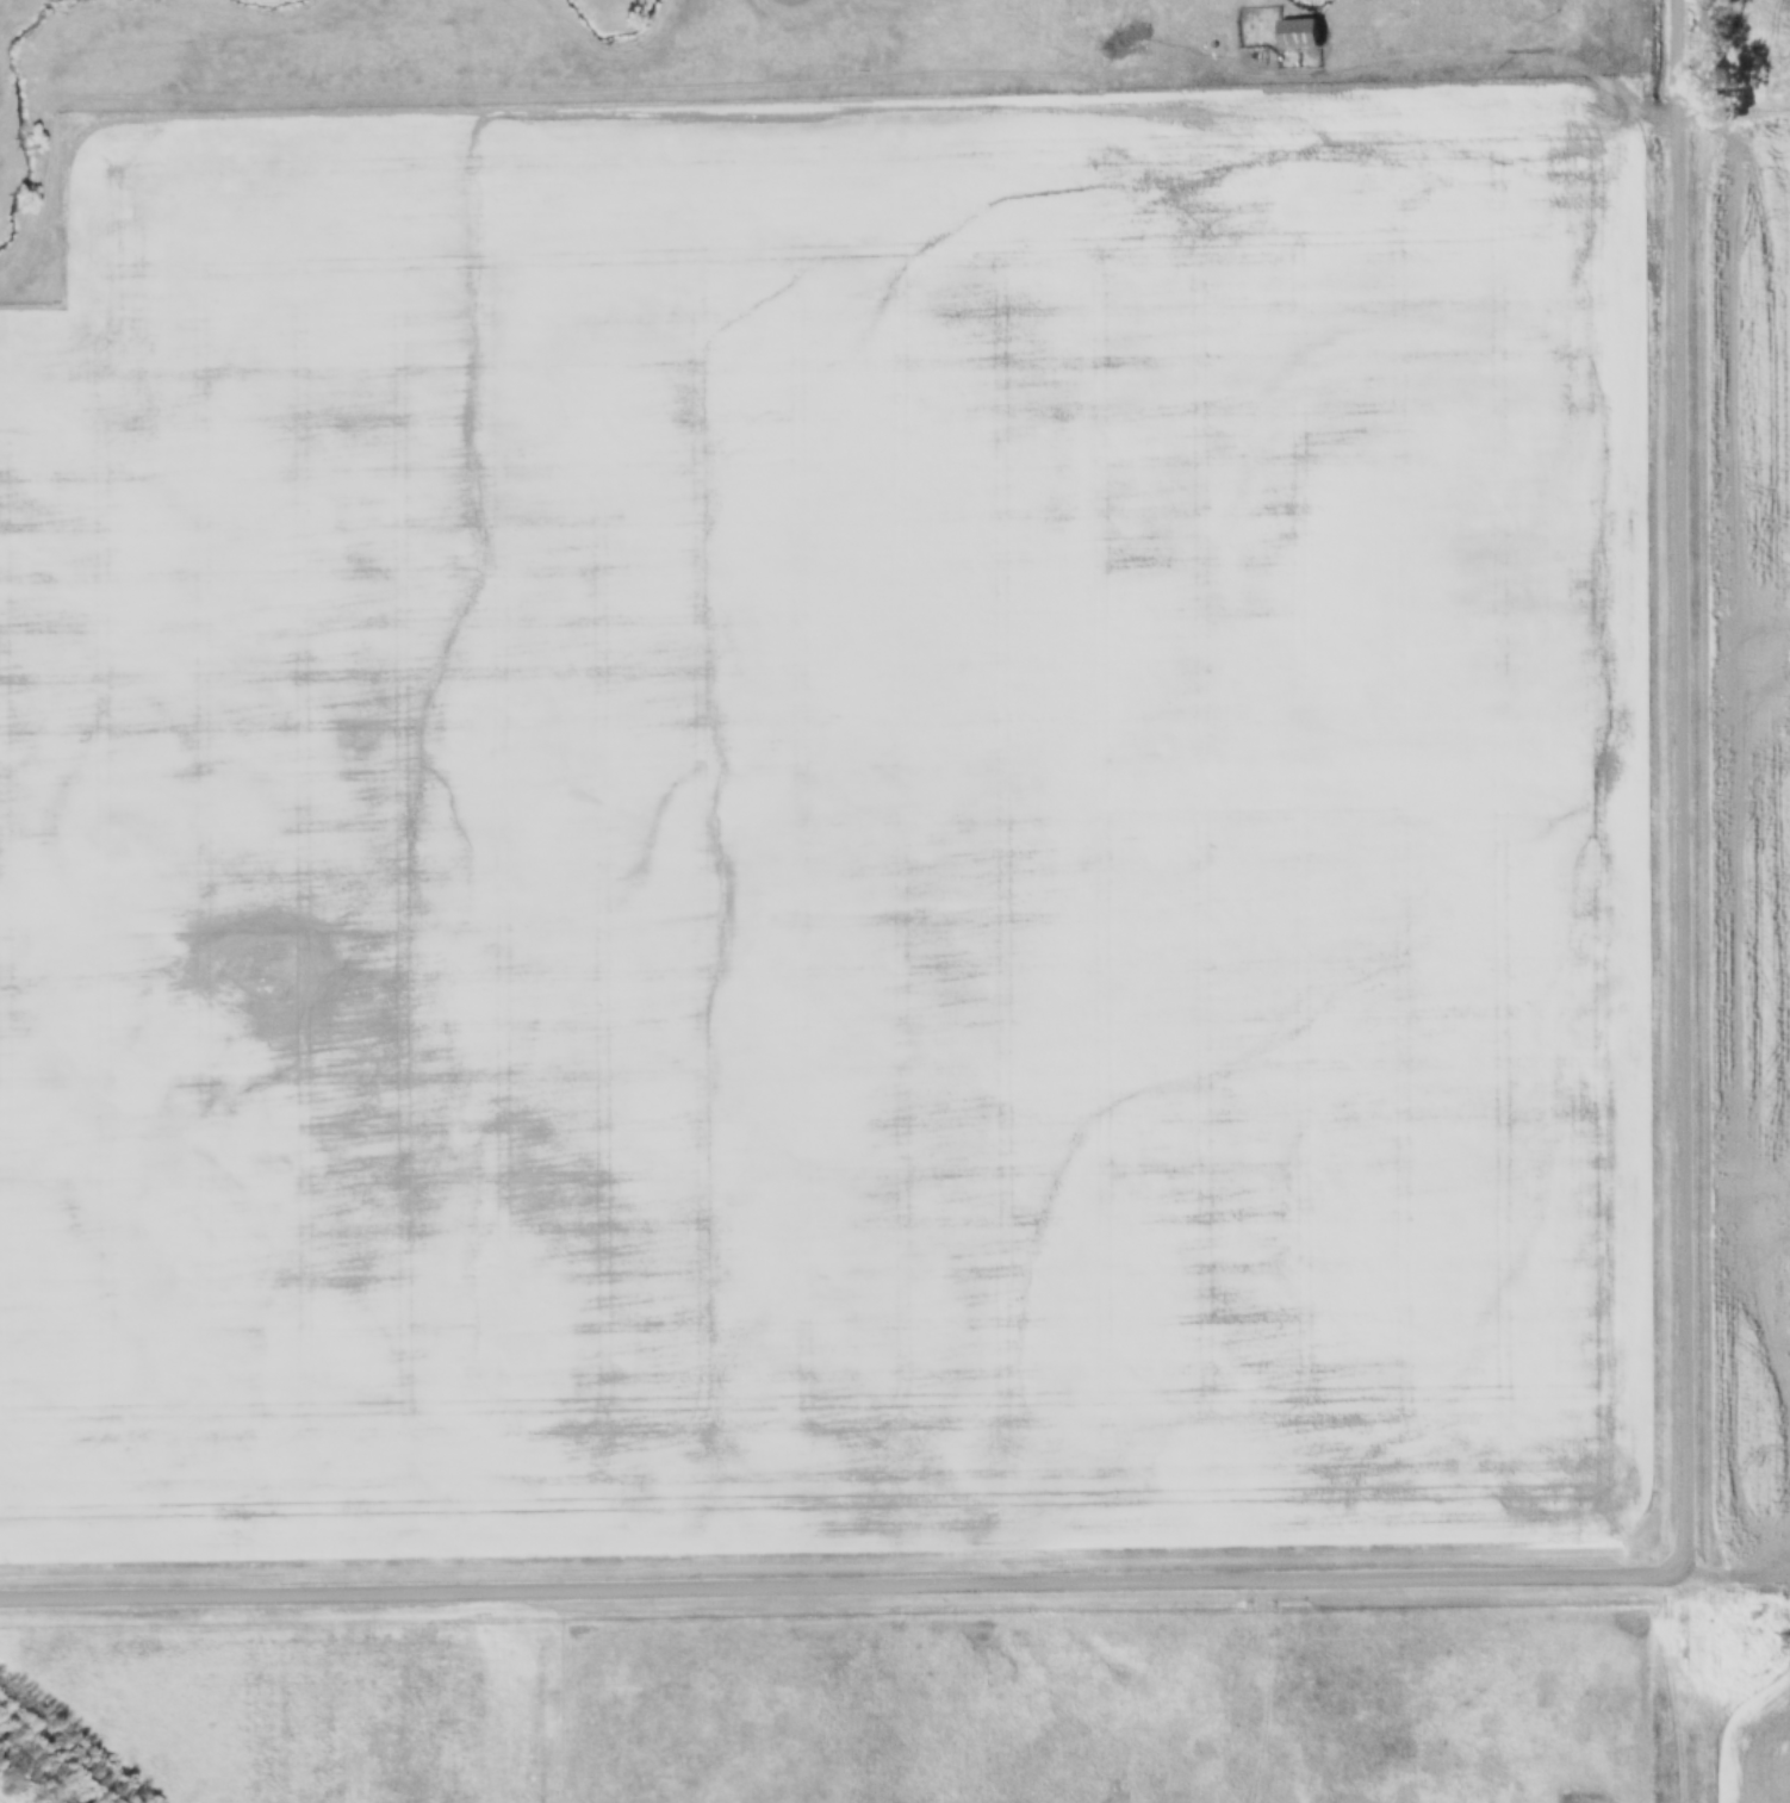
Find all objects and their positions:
building: (1396, 8)
building: (1299, 35)
road: (1686, 783)
road: (1739, 1567)
road: (844, 1585)
road: (1689, 1685)

